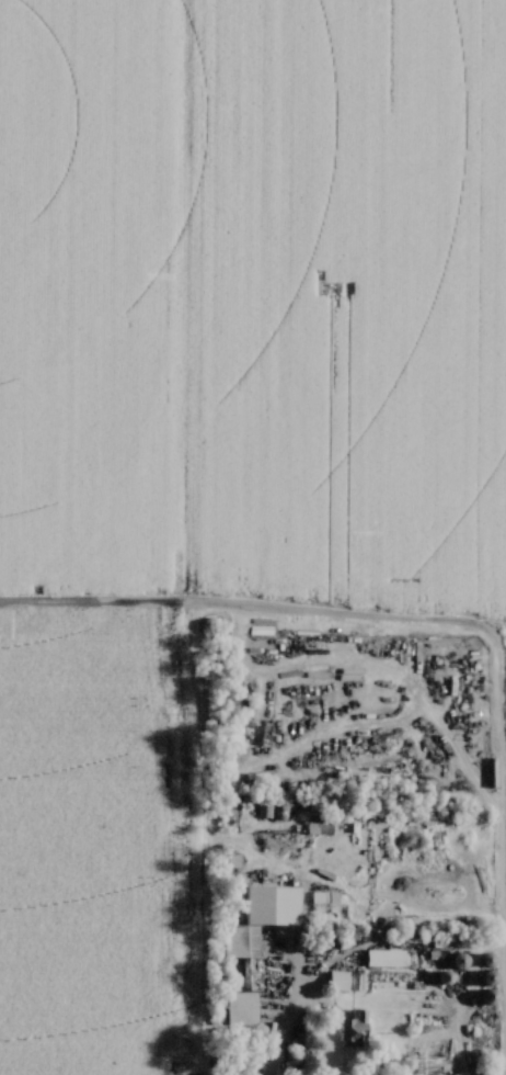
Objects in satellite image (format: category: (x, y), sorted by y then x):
building: (261, 629)
building: (205, 665)
building: (496, 772)
road: (486, 797)
building: (321, 829)
building: (322, 898)
building: (287, 921)
building: (387, 959)
building: (253, 981)
building: (347, 982)
road: (451, 1028)
building: (357, 1030)
road: (272, 1044)

